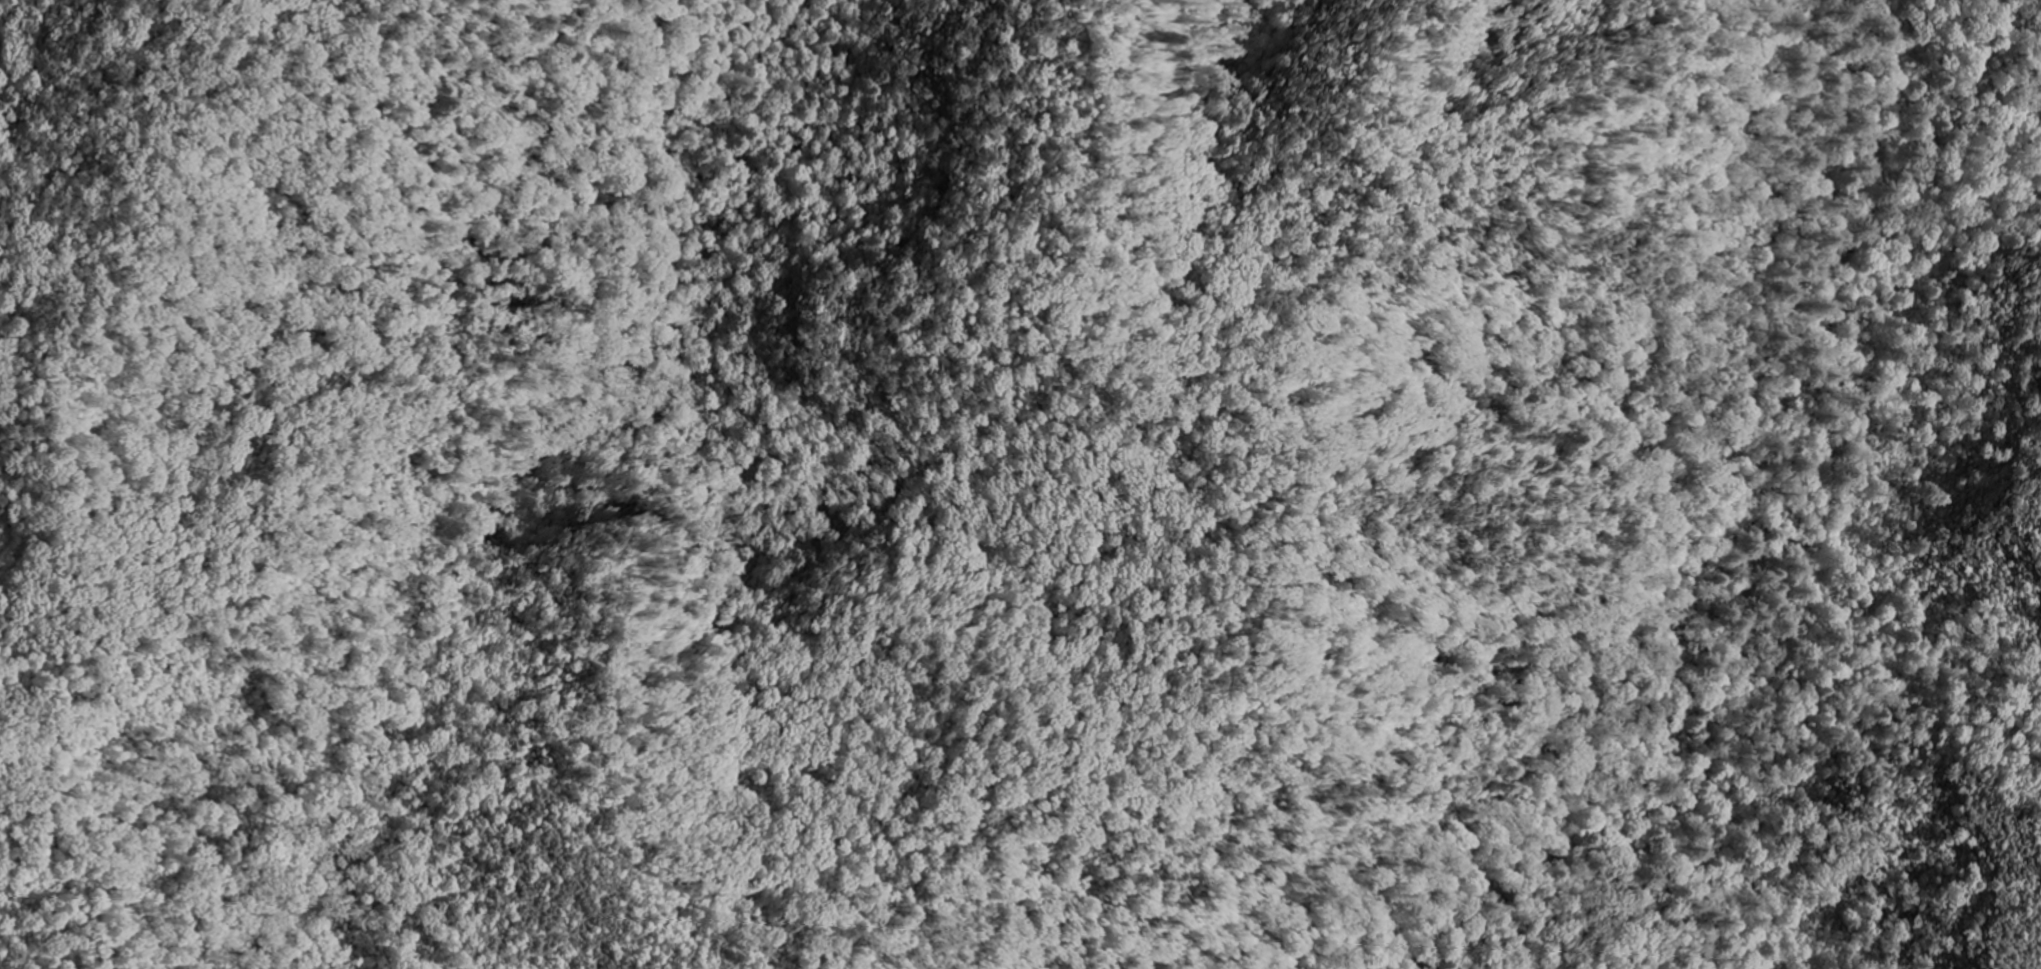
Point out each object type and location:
road: (626, 97)
road: (508, 195)
road: (147, 368)
road: (314, 439)

